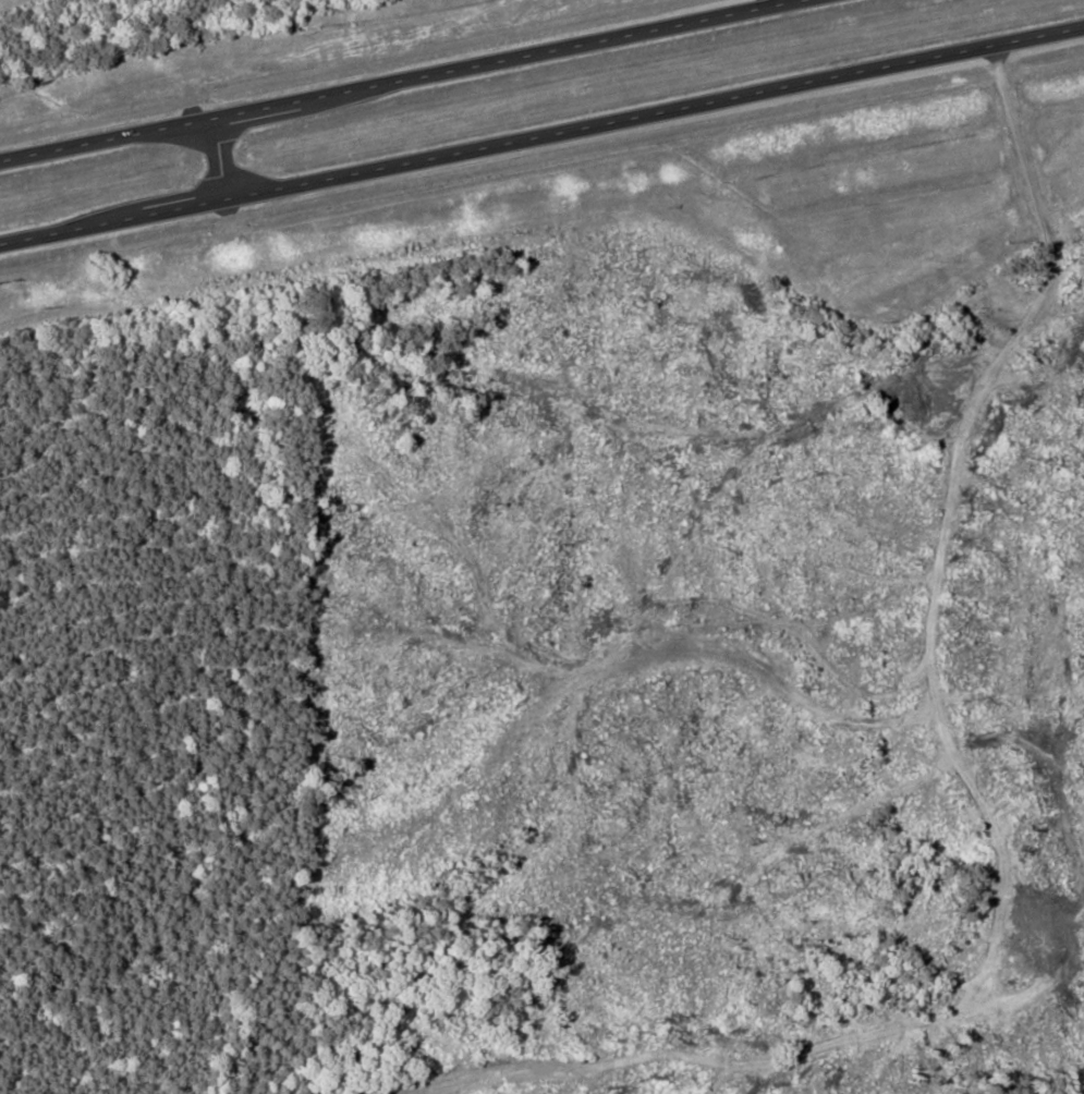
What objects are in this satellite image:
road: (401, 78)
road: (541, 134)
road: (216, 158)

